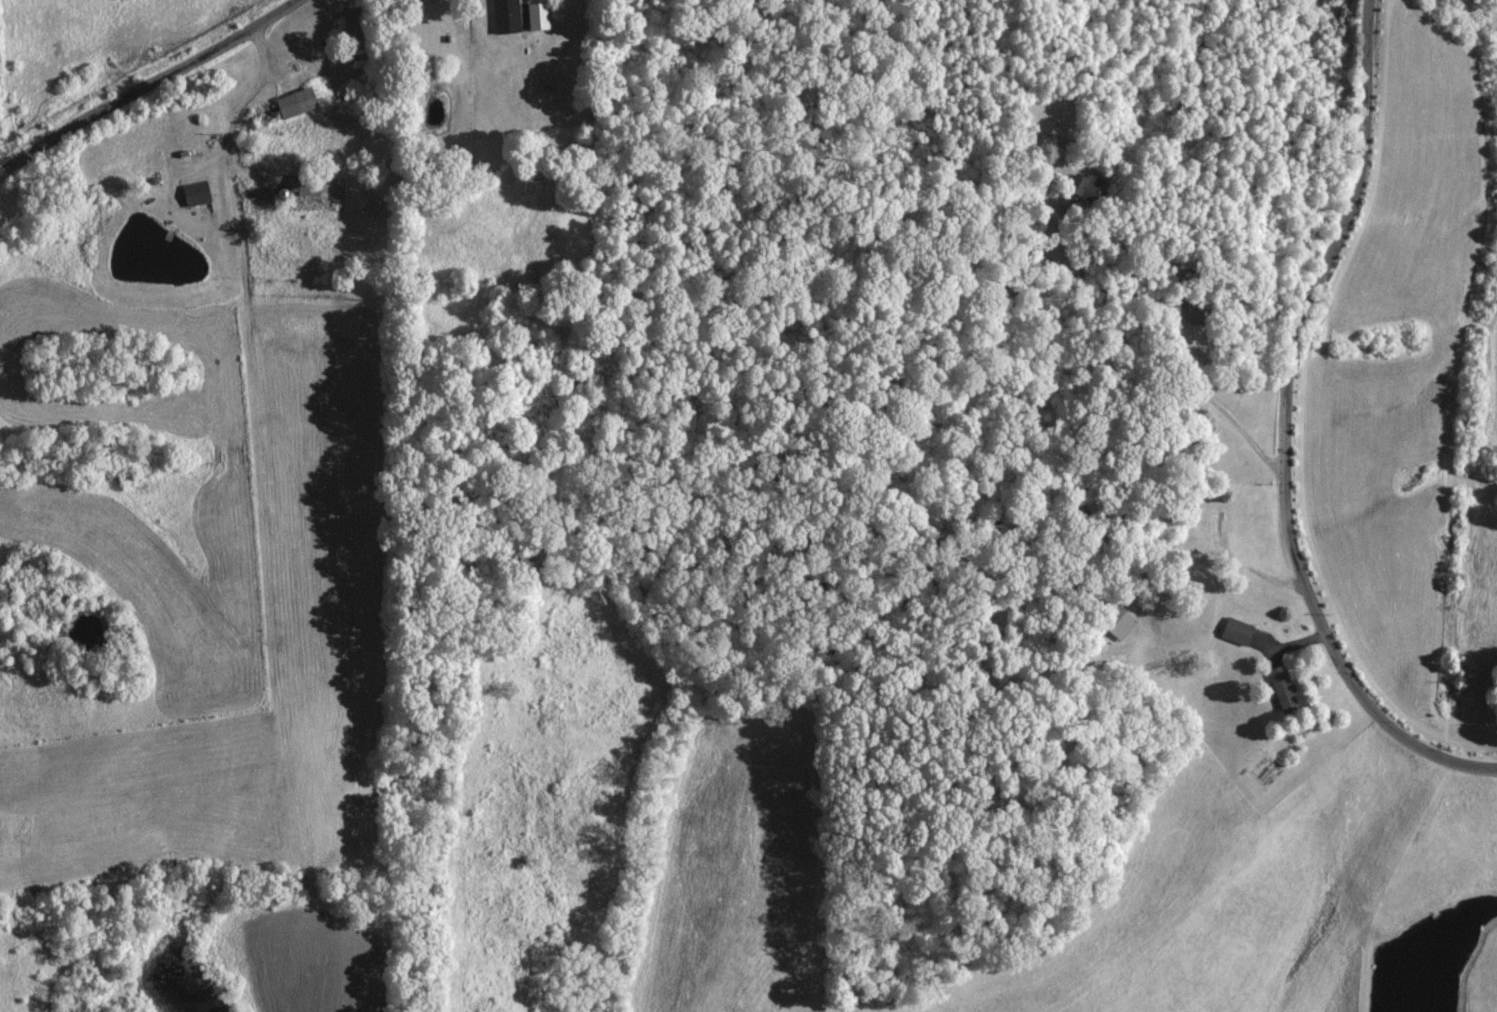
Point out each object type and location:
building: (505, 15)
building: (536, 15)
road: (147, 85)
building: (295, 102)
building: (1079, 185)
building: (303, 186)
building: (194, 193)
road: (1281, 431)
building: (1118, 623)
building: (1235, 631)
building: (1281, 689)

